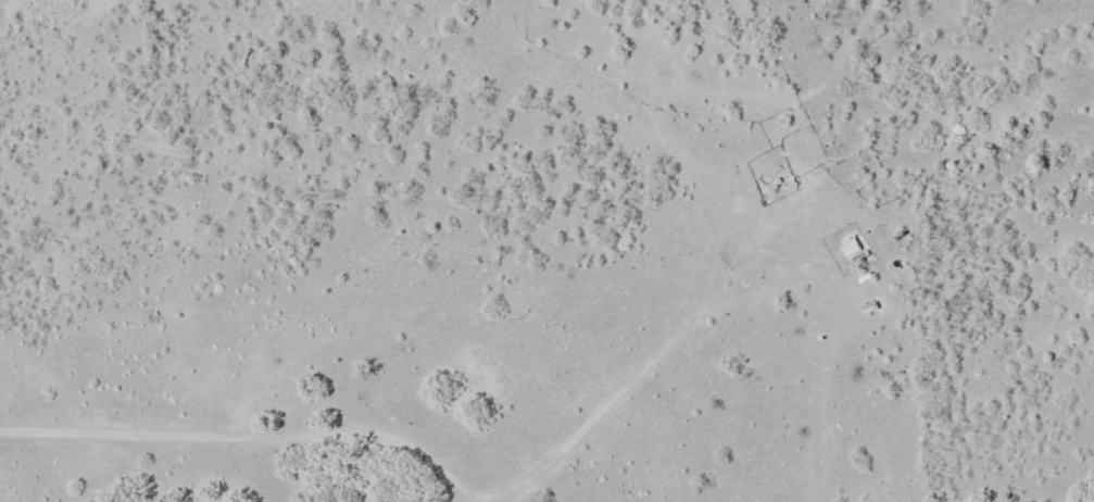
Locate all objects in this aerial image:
building: (848, 246)
building: (868, 309)
road: (632, 389)
road: (251, 441)

